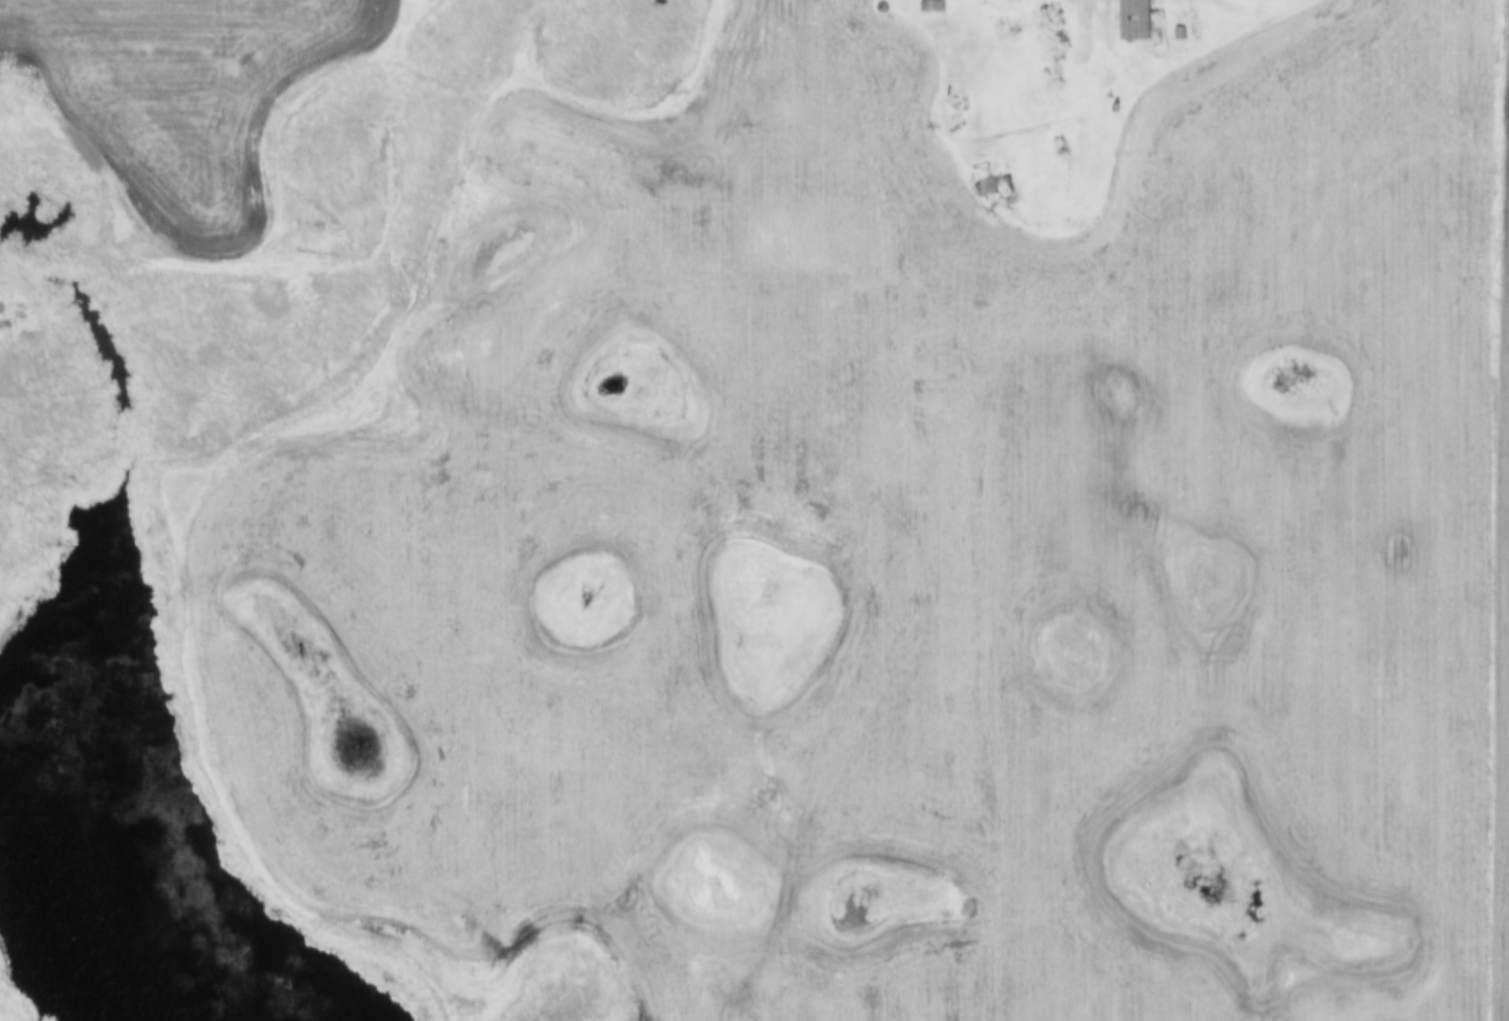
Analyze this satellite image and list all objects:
building: (931, 7)
building: (1137, 22)
building: (1178, 34)

